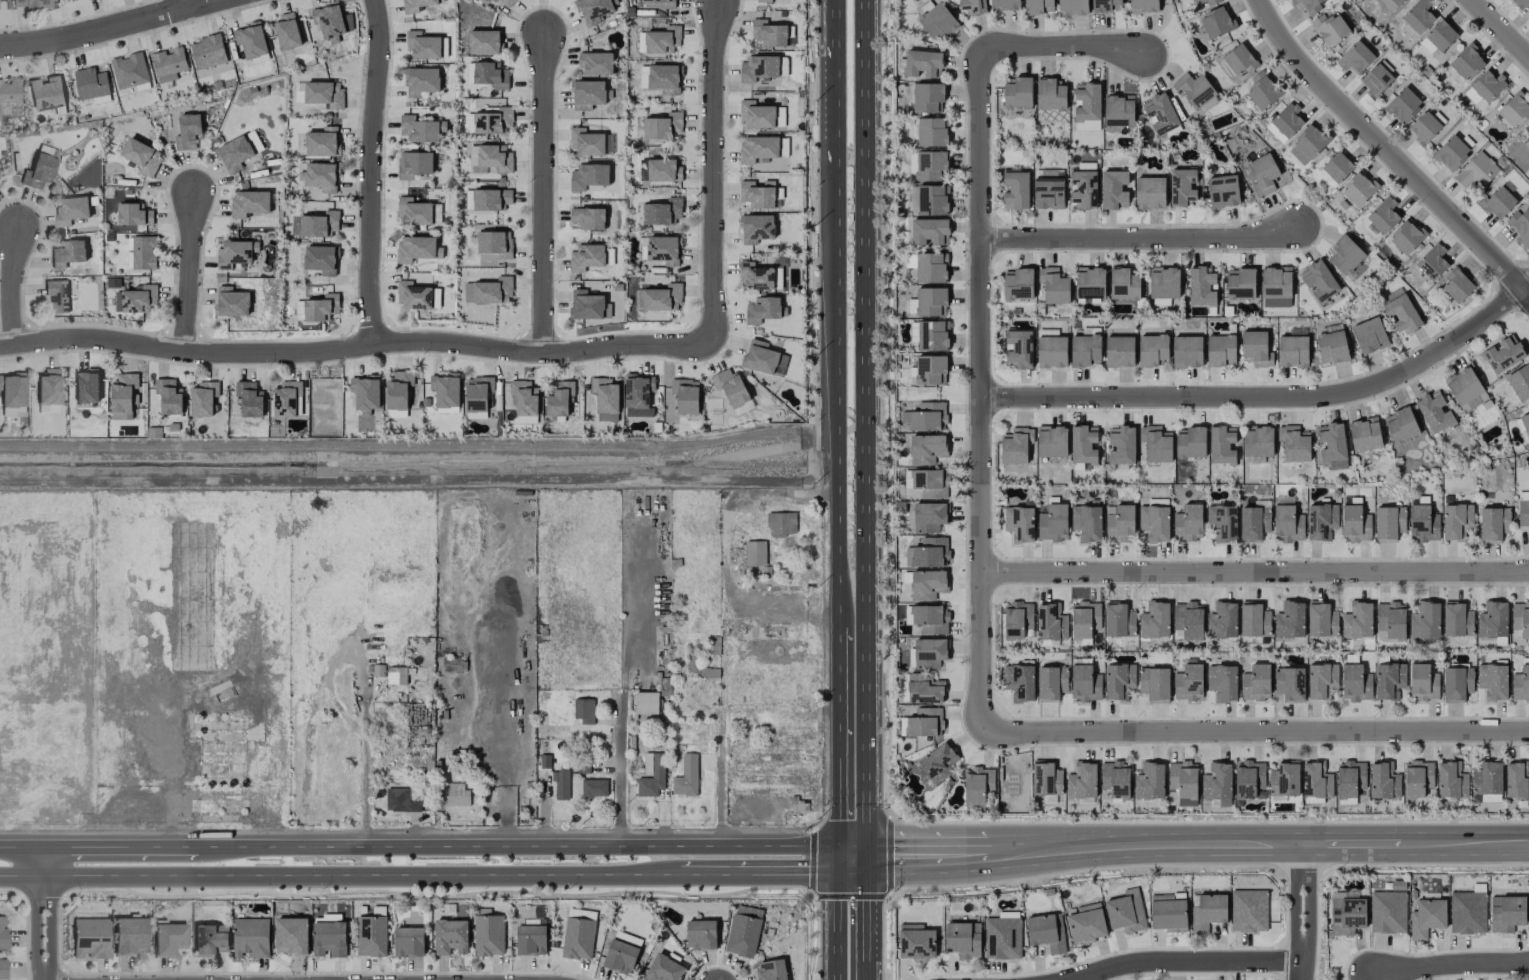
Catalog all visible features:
building: (764, 1)
building: (507, 2)
building: (1199, 2)
building: (30, 3)
building: (1521, 3)
building: (657, 4)
building: (1309, 4)
building: (1391, 4)
road: (187, 5)
building: (415, 5)
building: (1005, 5)
building: (1104, 5)
building: (1038, 6)
building: (1143, 6)
building: (972, 7)
building: (1072, 7)
building: (593, 10)
building: (1418, 16)
building: (328, 20)
building: (938, 20)
building: (1217, 22)
road: (1500, 27)
road: (113, 28)
building: (1330, 29)
building: (287, 31)
building: (769, 33)
building: (1438, 37)
building: (251, 40)
building: (662, 40)
building: (641, 41)
building: (483, 42)
road: (1061, 44)
building: (422, 45)
building: (207, 52)
building: (1355, 57)
building: (1236, 61)
building: (1467, 62)
building: (168, 63)
building: (596, 63)
building: (923, 63)
building: (758, 68)
building: (129, 70)
building: (487, 75)
building: (659, 78)
building: (1377, 78)
building: (421, 81)
building: (91, 85)
building: (1485, 87)
building: (1195, 90)
building: (1262, 90)
building: (9, 91)
building: (299, 92)
building: (1017, 92)
building: (45, 93)
building: (324, 94)
building: (588, 94)
building: (1050, 95)
building: (927, 97)
road: (836, 99)
building: (1087, 101)
building: (1403, 105)
building: (1119, 111)
building: (1512, 111)
building: (1160, 114)
building: (756, 115)
building: (1287, 120)
building: (492, 121)
building: (1528, 122)
building: (1426, 125)
building: (662, 126)
building: (420, 129)
building: (186, 131)
building: (931, 132)
building: (1528, 135)
building: (321, 141)
building: (1307, 144)
building: (758, 149)
road: (1389, 152)
building: (234, 153)
building: (1451, 153)
building: (141, 156)
building: (489, 159)
building: (414, 164)
building: (927, 164)
building: (1335, 167)
building: (39, 169)
building: (663, 169)
building: (1476, 171)
road: (376, 172)
road: (716, 174)
building: (1262, 174)
building: (319, 176)
building: (587, 176)
building: (1182, 186)
building: (1048, 188)
building: (1114, 189)
building: (1358, 189)
building: (1016, 190)
building: (1083, 190)
building: (1223, 191)
road: (543, 192)
building: (1150, 192)
building: (758, 193)
building: (491, 199)
building: (933, 199)
building: (249, 202)
building: (1499, 202)
building: (70, 210)
building: (662, 211)
building: (414, 212)
building: (133, 215)
building: (1383, 215)
building: (588, 218)
building: (320, 224)
building: (1520, 226)
building: (756, 228)
building: (928, 231)
building: (1406, 237)
road: (1137, 238)
building: (495, 243)
building: (414, 248)
building: (663, 249)
building: (142, 251)
building: (67, 253)
building: (235, 253)
building: (1345, 254)
building: (586, 257)
building: (320, 259)
building: (1432, 262)
building: (931, 267)
road: (188, 271)
building: (754, 276)
building: (1318, 281)
building: (1164, 282)
building: (1017, 283)
building: (1089, 283)
building: (1240, 283)
building: (1123, 284)
building: (1054, 285)
building: (1457, 285)
road: (11, 287)
building: (1202, 287)
building: (1276, 287)
building: (488, 291)
building: (56, 295)
building: (412, 295)
building: (660, 297)
building: (136, 299)
building: (231, 301)
building: (931, 301)
building: (586, 305)
building: (320, 307)
building: (762, 310)
building: (1402, 313)
building: (1369, 335)
road: (355, 346)
building: (1332, 347)
building: (1256, 348)
building: (1019, 349)
building: (1085, 350)
building: (1152, 350)
building: (1221, 350)
building: (1119, 351)
building: (1187, 351)
building: (1292, 351)
building: (1052, 352)
building: (1503, 353)
building: (764, 358)
building: (930, 369)
building: (1519, 382)
building: (86, 386)
building: (730, 386)
road: (979, 386)
building: (47, 387)
building: (445, 389)
building: (1465, 389)
building: (11, 391)
building: (365, 393)
building: (397, 393)
building: (122, 395)
building: (638, 395)
building: (685, 395)
building: (168, 396)
road: (1270, 396)
building: (479, 397)
building: (202, 398)
building: (523, 398)
building: (558, 398)
building: (605, 398)
building: (249, 399)
building: (285, 399)
road: (839, 408)
building: (1434, 412)
building: (926, 416)
building: (1525, 423)
building: (1400, 425)
building: (1364, 434)
road: (867, 438)
building: (1052, 441)
building: (1190, 442)
building: (1257, 443)
building: (1083, 444)
building: (1155, 444)
building: (1294, 444)
building: (1015, 445)
building: (1121, 445)
building: (1222, 445)
building: (1332, 445)
building: (927, 449)
building: (927, 482)
building: (1523, 512)
building: (929, 517)
building: (1155, 519)
building: (1456, 520)
building: (1053, 521)
building: (1321, 521)
building: (1087, 522)
building: (1188, 522)
building: (782, 523)
building: (1019, 523)
building: (1120, 523)
building: (1222, 523)
building: (1254, 523)
building: (1389, 523)
building: (1493, 523)
building: (1287, 524)
building: (1355, 524)
building: (928, 552)
road: (725, 553)
building: (759, 553)
road: (1254, 570)
building: (927, 584)
building: (1520, 618)
building: (929, 619)
building: (1017, 619)
building: (1321, 619)
building: (1457, 619)
building: (1119, 620)
building: (1155, 620)
building: (1187, 620)
building: (1254, 620)
building: (1290, 620)
building: (1357, 620)
building: (1425, 620)
building: (1085, 621)
building: (1223, 621)
building: (1390, 621)
building: (1051, 622)
building: (1493, 622)
building: (929, 652)
building: (396, 675)
building: (1118, 679)
building: (1321, 680)
building: (1389, 680)
building: (1493, 681)
building: (1019, 682)
building: (1188, 682)
building: (1223, 682)
building: (1256, 682)
building: (1423, 682)
building: (1051, 683)
building: (1085, 683)
building: (1290, 683)
building: (1355, 683)
building: (1155, 684)
building: (1457, 684)
building: (1520, 684)
building: (924, 688)
building: (645, 702)
building: (584, 710)
building: (925, 722)
road: (1254, 729)
road: (365, 743)
road: (840, 747)
building: (938, 762)
building: (582, 769)
road: (621, 773)
building: (651, 775)
building: (686, 776)
road: (719, 776)
building: (1046, 778)
building: (1115, 778)
building: (1417, 778)
building: (1487, 778)
building: (1249, 779)
building: (1284, 779)
building: (1451, 780)
building: (1516, 780)
building: (1082, 781)
building: (1150, 781)
building: (1184, 781)
building: (1384, 781)
building: (1316, 783)
building: (561, 784)
building: (1218, 784)
building: (978, 785)
building: (594, 788)
building: (456, 795)
building: (1490, 798)
building: (403, 799)
road: (1208, 821)
road: (1352, 845)
road: (1465, 845)
road: (546, 846)
road: (117, 847)
road: (1144, 847)
road: (19, 848)
road: (942, 856)
road: (1425, 864)
road: (1299, 867)
road: (1081, 869)
road: (793, 875)
road: (342, 876)
road: (855, 893)
building: (1249, 910)
building: (1208, 911)
building: (1126, 912)
building: (1168, 912)
building: (1388, 912)
building: (1467, 912)
road: (1302, 913)
building: (1506, 913)
road: (40, 914)
building: (1346, 916)
building: (1427, 917)
building: (1086, 923)
road: (835, 927)
road: (866, 928)
building: (744, 931)
building: (1045, 933)
building: (701, 934)
building: (127, 935)
building: (291, 935)
building: (329, 935)
building: (371, 936)
building: (450, 936)
building: (1003, 936)
building: (89, 937)
building: (250, 937)
building: (2, 938)
building: (167, 938)
building: (531, 938)
building: (578, 938)
building: (210, 939)
building: (963, 939)
building: (408, 942)
building: (916, 942)
building: (620, 956)
road: (1181, 961)
road: (1451, 965)
building: (1, 969)
building: (663, 969)
building: (771, 970)

